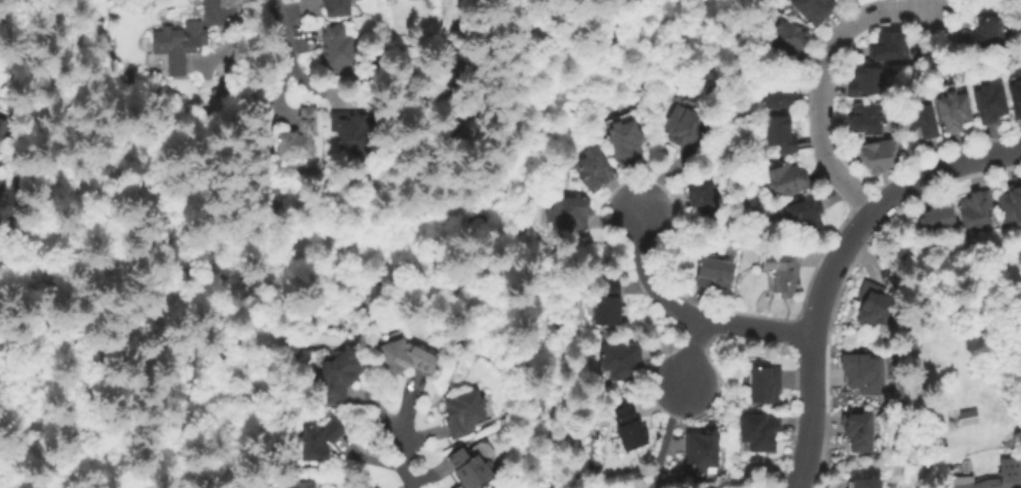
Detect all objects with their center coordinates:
building: (302, 0)
building: (230, 3)
road: (783, 6)
building: (339, 7)
building: (812, 9)
building: (985, 33)
road: (286, 37)
building: (783, 39)
building: (178, 45)
building: (892, 45)
building: (341, 50)
building: (870, 79)
road: (822, 81)
building: (1017, 90)
building: (783, 92)
building: (995, 99)
building: (959, 106)
building: (871, 116)
building: (926, 116)
building: (3, 123)
building: (689, 124)
building: (356, 128)
building: (785, 130)
building: (629, 133)
building: (302, 134)
building: (877, 155)
building: (594, 166)
building: (0, 175)
building: (792, 178)
building: (4, 188)
building: (708, 194)
building: (1011, 203)
building: (977, 209)
building: (573, 210)
building: (807, 212)
building: (941, 216)
road: (15, 234)
road: (831, 264)
building: (787, 267)
building: (718, 271)
building: (612, 302)
building: (872, 307)
road: (688, 315)
building: (408, 355)
road: (688, 355)
building: (624, 358)
building: (862, 372)
building: (342, 373)
building: (768, 383)
building: (469, 412)
building: (961, 418)
building: (635, 426)
building: (757, 430)
building: (862, 430)
road: (664, 436)
building: (323, 438)
road: (400, 440)
building: (707, 448)
building: (473, 466)
building: (995, 476)
building: (872, 482)
building: (303, 484)

